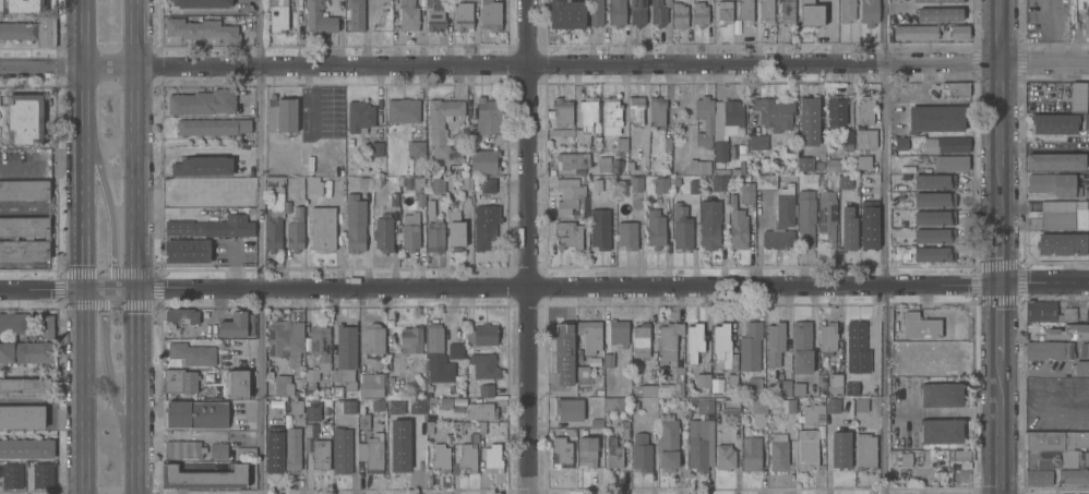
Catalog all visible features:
building: (941, 0)
building: (202, 2)
building: (805, 2)
building: (23, 5)
building: (745, 10)
building: (766, 10)
building: (787, 10)
building: (847, 10)
building: (725, 11)
building: (869, 11)
building: (596, 12)
building: (618, 12)
building: (638, 12)
building: (658, 12)
building: (699, 12)
building: (940, 13)
building: (278, 14)
building: (356, 14)
building: (409, 14)
building: (435, 14)
building: (491, 14)
building: (566, 14)
building: (679, 14)
building: (464, 15)
building: (810, 15)
building: (319, 17)
building: (1086, 22)
building: (201, 28)
building: (31, 29)
building: (912, 31)
building: (959, 31)
road: (1044, 61)
road: (500, 64)
building: (955, 88)
building: (1077, 96)
building: (203, 101)
building: (24, 105)
building: (403, 109)
building: (635, 109)
building: (657, 109)
building: (864, 109)
building: (562, 110)
building: (774, 110)
building: (836, 111)
building: (282, 113)
building: (490, 115)
building: (611, 115)
building: (360, 116)
building: (935, 117)
building: (586, 120)
building: (705, 120)
building: (807, 121)
building: (1085, 121)
building: (443, 124)
building: (726, 124)
building: (213, 125)
building: (1051, 126)
building: (25, 129)
building: (561, 131)
building: (866, 137)
building: (849, 140)
building: (758, 141)
building: (622, 142)
building: (668, 142)
building: (901, 143)
building: (945, 144)
building: (376, 147)
building: (417, 147)
building: (742, 147)
building: (484, 159)
building: (572, 159)
building: (1055, 159)
building: (863, 160)
building: (952, 161)
building: (608, 162)
building: (741, 164)
building: (834, 164)
building: (203, 165)
building: (698, 165)
building: (804, 165)
building: (746, 177)
building: (402, 179)
building: (677, 180)
building: (830, 180)
building: (934, 180)
building: (364, 181)
building: (466, 181)
building: (766, 181)
building: (719, 182)
road: (104, 183)
building: (438, 183)
building: (636, 183)
building: (845, 183)
building: (1054, 183)
building: (488, 184)
building: (661, 184)
building: (273, 185)
building: (313, 185)
building: (450, 185)
building: (694, 185)
building: (24, 188)
building: (420, 191)
building: (746, 191)
building: (567, 196)
building: (394, 198)
building: (934, 198)
building: (286, 205)
building: (786, 205)
building: (23, 208)
building: (454, 214)
building: (806, 216)
building: (827, 216)
building: (934, 216)
building: (1057, 216)
building: (355, 221)
building: (709, 222)
building: (600, 224)
building: (870, 224)
building: (24, 225)
building: (238, 225)
building: (738, 225)
building: (487, 226)
building: (682, 226)
building: (322, 227)
building: (656, 227)
building: (184, 228)
building: (847, 228)
building: (410, 229)
building: (295, 230)
building: (273, 231)
building: (383, 231)
building: (456, 233)
building: (569, 233)
building: (627, 233)
building: (435, 234)
building: (934, 234)
building: (1066, 236)
building: (778, 238)
building: (1043, 238)
building: (1079, 244)
road: (83, 246)
road: (140, 246)
road: (263, 246)
road: (528, 246)
road: (886, 246)
road: (1000, 246)
building: (24, 249)
building: (187, 250)
building: (1049, 252)
building: (934, 253)
road: (1043, 285)
road: (499, 286)
traffic signals: (83, 290)
traffic signals: (141, 290)
building: (1040, 310)
building: (1069, 313)
building: (1087, 313)
building: (184, 320)
building: (13, 322)
building: (237, 323)
building: (47, 325)
building: (921, 325)
building: (619, 330)
building: (1067, 330)
building: (482, 334)
building: (590, 334)
building: (828, 337)
building: (373, 339)
building: (411, 339)
building: (641, 339)
building: (670, 339)
building: (286, 340)
building: (694, 340)
building: (320, 341)
building: (775, 341)
building: (722, 342)
building: (751, 346)
building: (802, 346)
building: (563, 347)
building: (857, 348)
building: (1084, 348)
building: (456, 349)
building: (1049, 349)
building: (25, 351)
building: (192, 352)
building: (346, 354)
building: (438, 354)
building: (608, 359)
building: (484, 364)
building: (1081, 366)
building: (583, 373)
building: (311, 376)
building: (391, 378)
building: (732, 378)
building: (179, 379)
building: (703, 379)
building: (237, 382)
building: (836, 382)
building: (280, 384)
building: (370, 384)
building: (679, 384)
building: (753, 385)
building: (24, 386)
building: (715, 386)
building: (782, 386)
road: (113, 387)
building: (798, 387)
building: (487, 389)
building: (561, 389)
building: (647, 389)
building: (337, 391)
building: (309, 393)
building: (941, 393)
building: (313, 401)
building: (446, 401)
building: (681, 401)
building: (615, 402)
building: (633, 402)
building: (861, 403)
building: (349, 405)
building: (730, 405)
building: (759, 405)
building: (788, 405)
building: (296, 406)
building: (417, 406)
building: (705, 406)
building: (831, 406)
building: (570, 408)
building: (481, 410)
building: (198, 412)
building: (313, 412)
building: (814, 412)
building: (22, 415)
building: (363, 420)
building: (596, 421)
building: (430, 426)
building: (458, 426)
building: (482, 427)
building: (625, 429)
building: (942, 430)
building: (570, 431)
building: (1055, 439)
building: (701, 443)
building: (669, 445)
building: (26, 447)
building: (183, 448)
building: (218, 448)
building: (274, 448)
building: (292, 448)
building: (342, 449)
building: (807, 449)
building: (840, 449)
building: (562, 450)
building: (586, 450)
building: (865, 450)
building: (246, 451)
building: (372, 451)
building: (642, 451)
building: (779, 451)
building: (613, 453)
building: (751, 453)
building: (321, 454)
building: (406, 455)
building: (961, 455)
building: (468, 456)
building: (726, 456)
building: (441, 457)
building: (492, 457)
building: (899, 457)
building: (1051, 458)
building: (1084, 458)
building: (12, 474)
building: (43, 474)
building: (1074, 474)
building: (204, 477)
building: (1039, 477)

